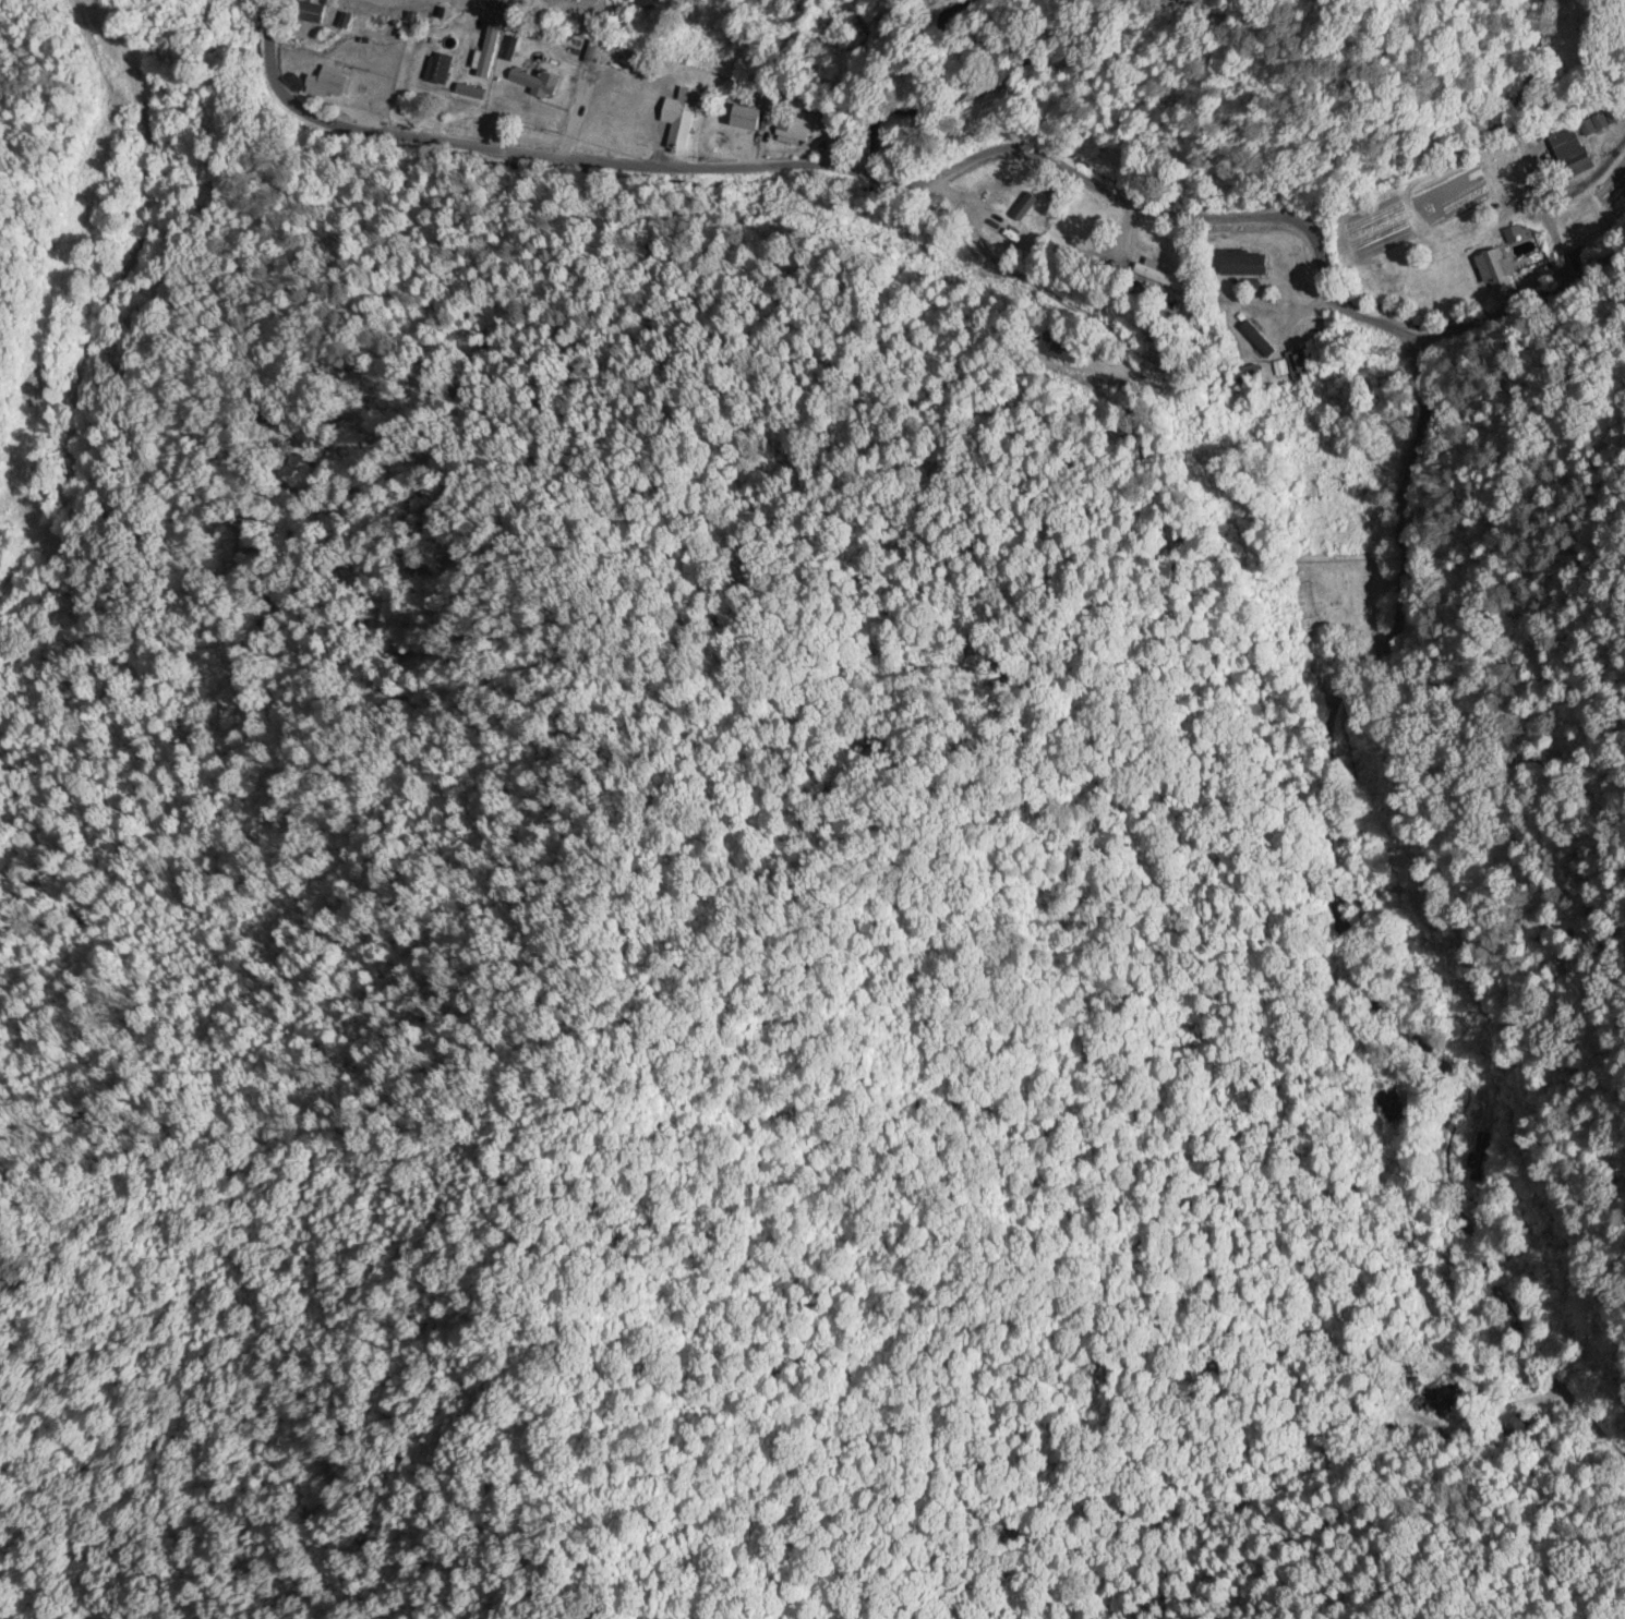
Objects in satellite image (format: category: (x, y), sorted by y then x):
road: (917, 108)
road: (1312, 911)

